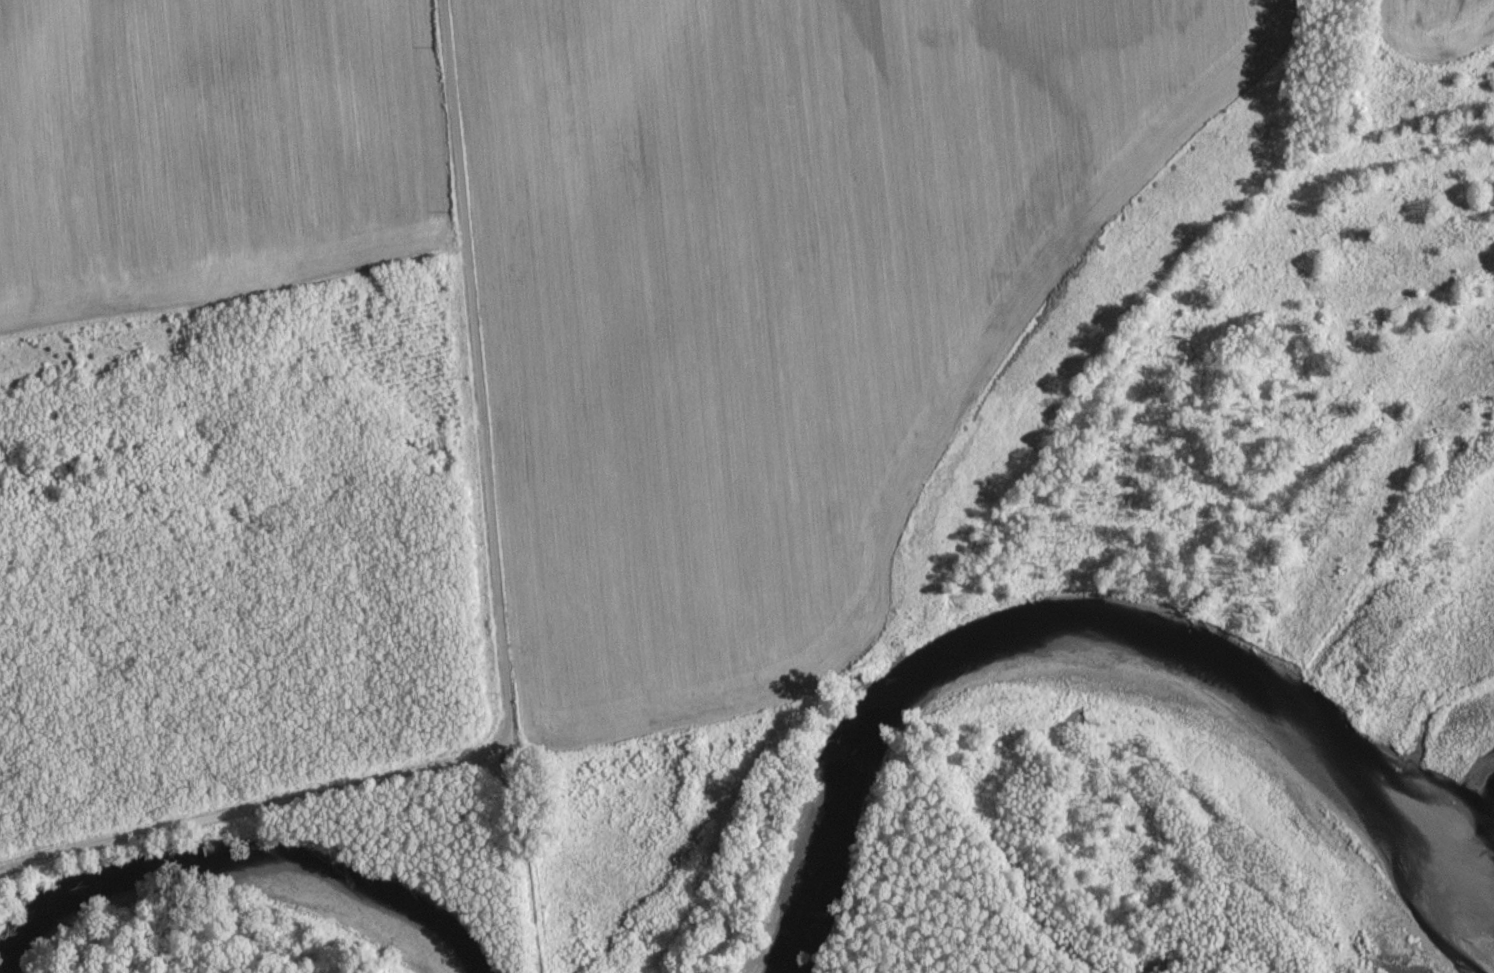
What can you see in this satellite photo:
road: (477, 376)
road: (252, 804)
river: (1393, 827)
road: (523, 863)

